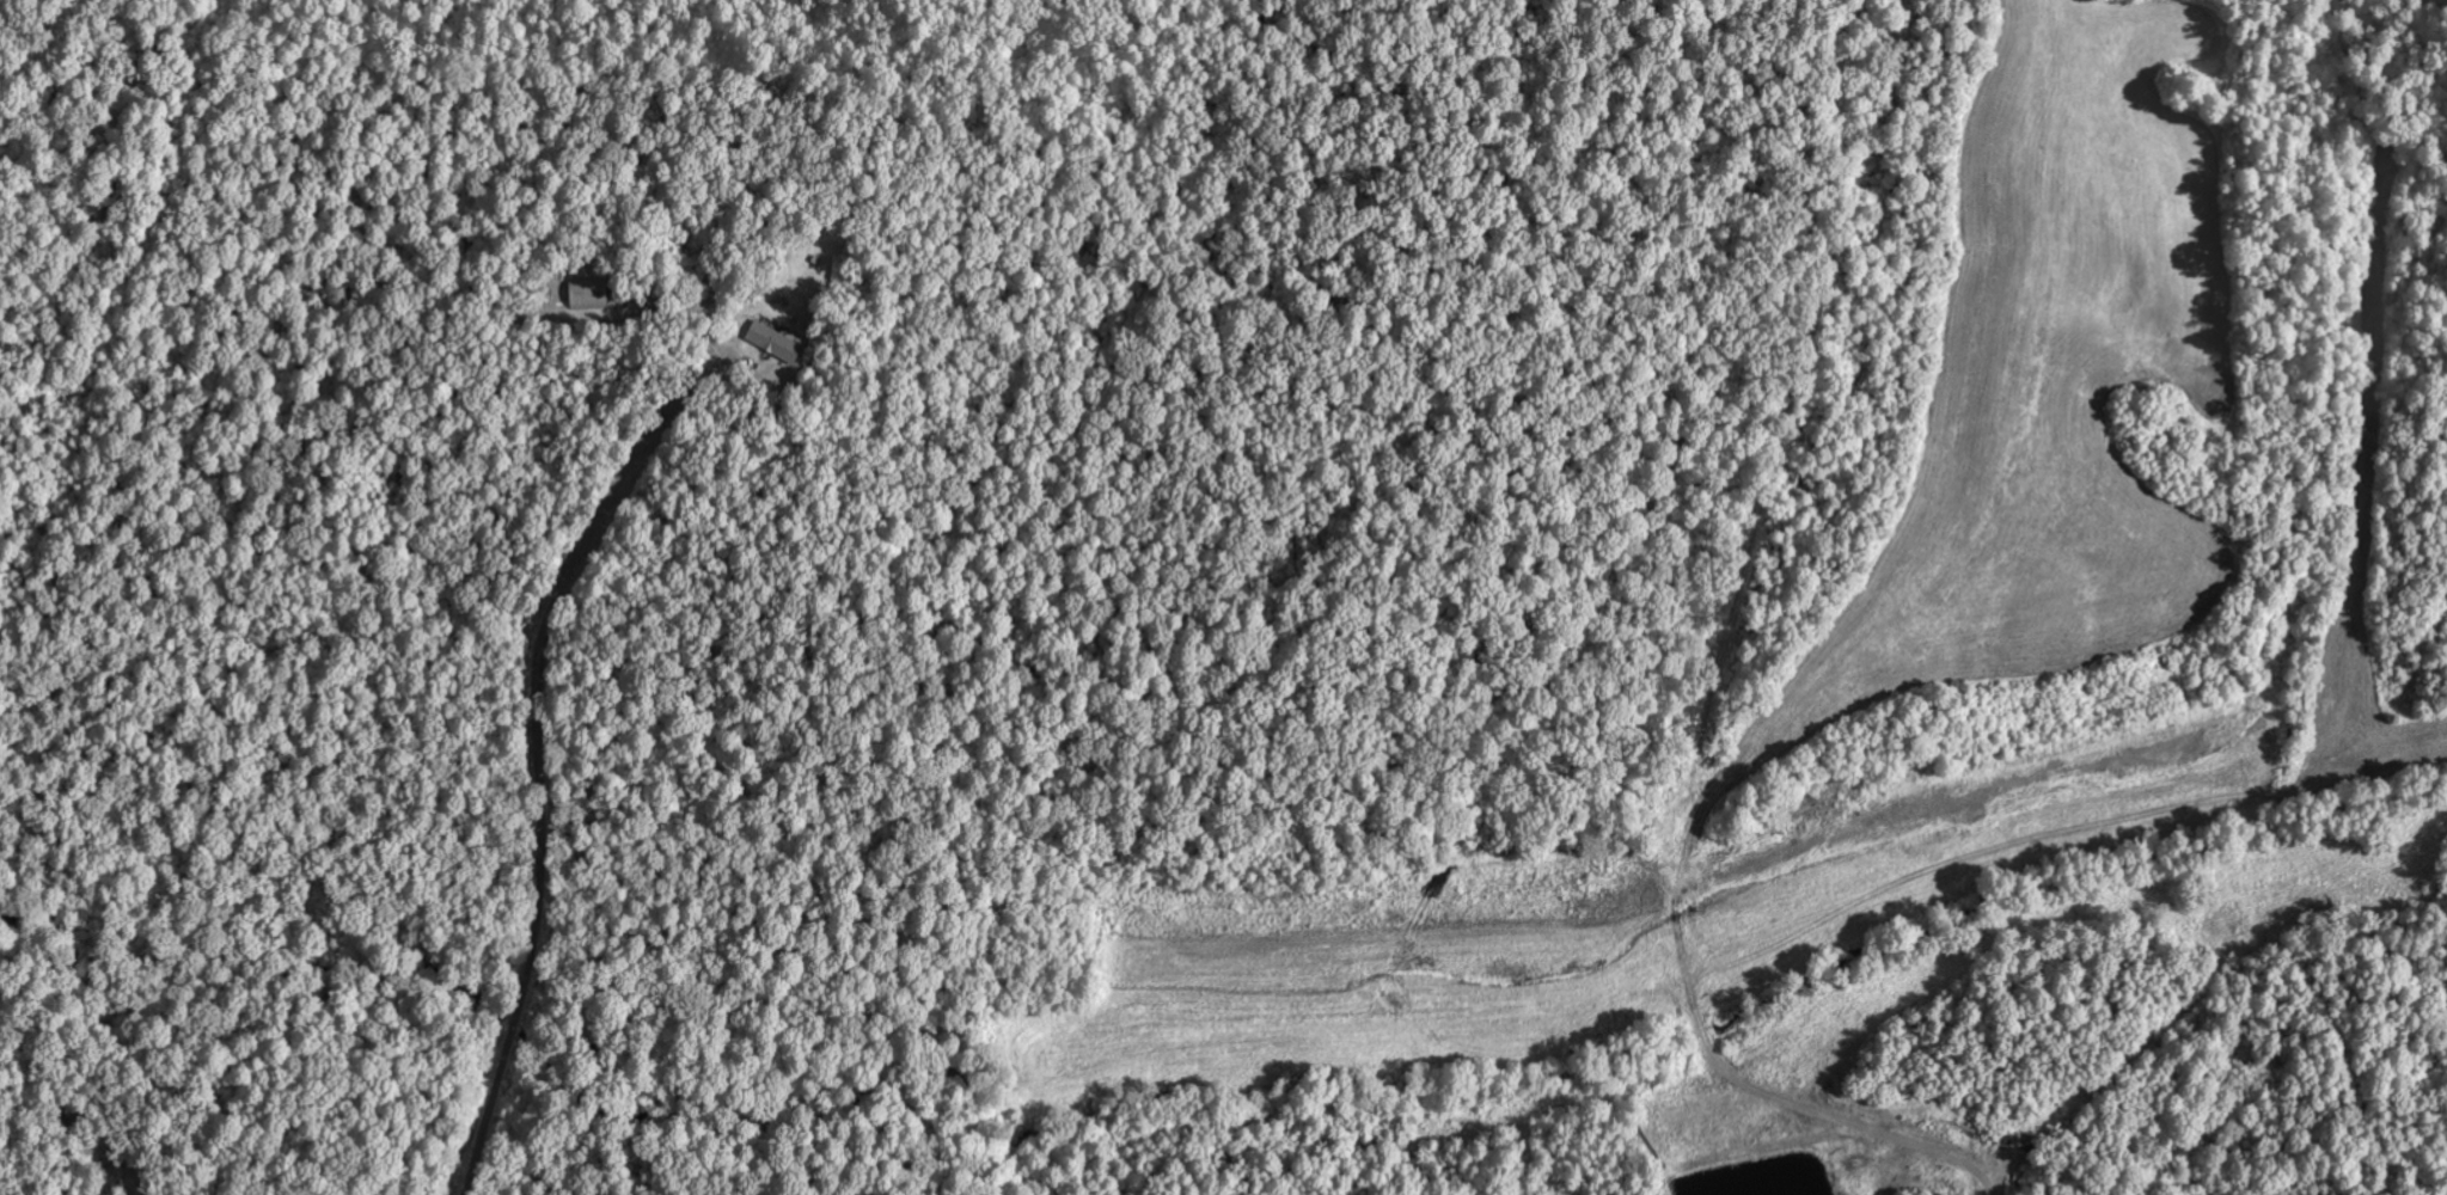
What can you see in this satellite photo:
building: (777, 342)
road: (1181, 753)

